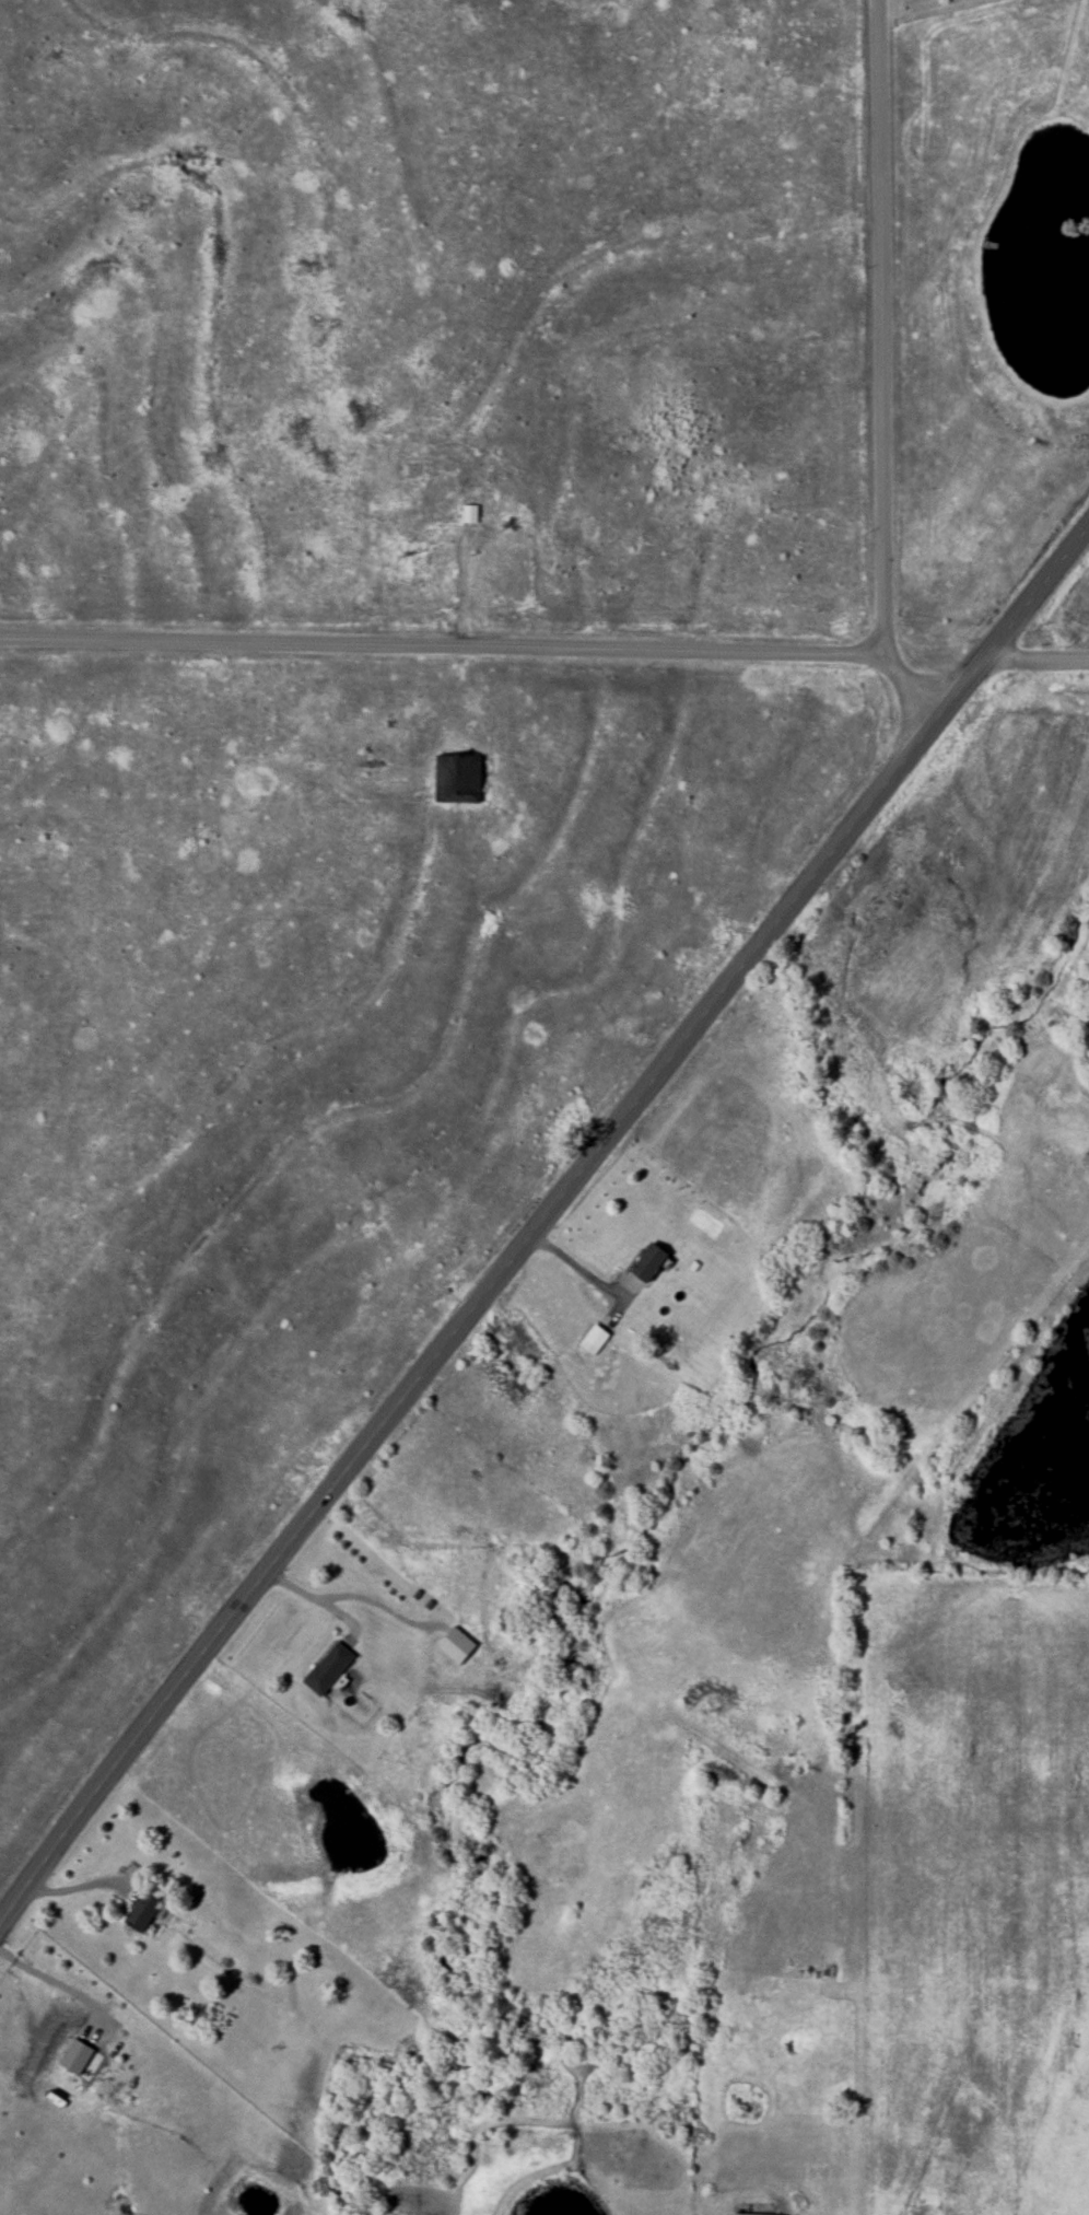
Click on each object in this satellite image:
road: (881, 326)
building: (470, 514)
road: (483, 643)
road: (466, 650)
road: (1037, 658)
road: (539, 1222)
building: (651, 1263)
road: (585, 1271)
road: (320, 1602)
building: (457, 1645)
building: (328, 1669)
building: (143, 1912)
road: (49, 1980)

